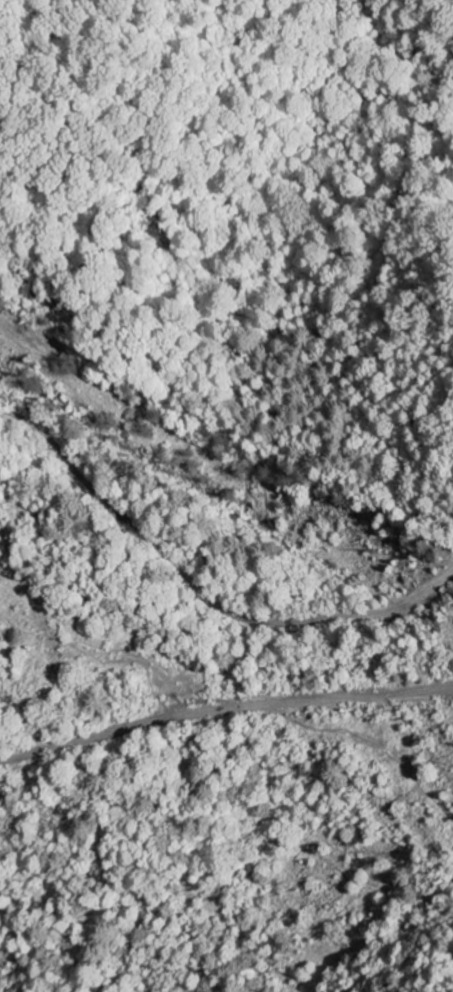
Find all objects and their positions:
road: (249, 717)

